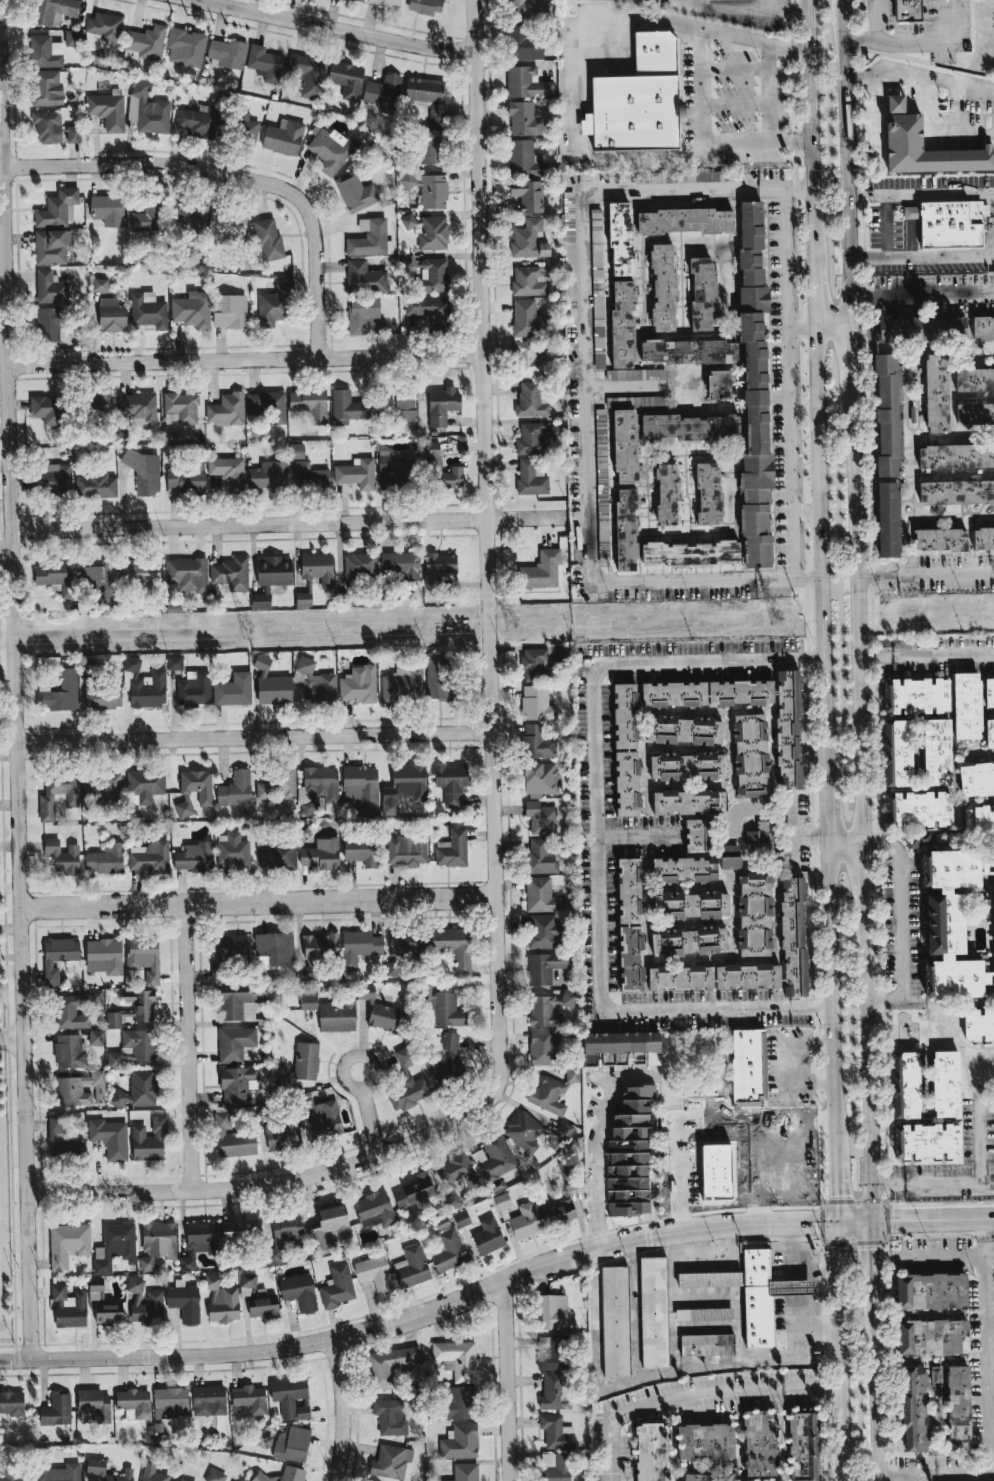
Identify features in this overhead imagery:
building: (361, 0)
building: (386, 2)
road: (770, 4)
road: (684, 5)
building: (426, 6)
building: (54, 9)
road: (758, 9)
building: (529, 10)
building: (908, 11)
road: (836, 12)
road: (874, 19)
building: (106, 26)
road: (336, 27)
building: (72, 38)
road: (920, 41)
building: (145, 43)
building: (524, 43)
building: (185, 47)
building: (46, 52)
building: (227, 54)
building: (97, 58)
building: (265, 63)
road: (810, 70)
building: (308, 72)
road: (888, 74)
building: (346, 79)
building: (527, 83)
road: (962, 84)
building: (48, 87)
building: (424, 89)
building: (383, 94)
road: (571, 99)
building: (638, 99)
building: (148, 109)
building: (108, 111)
building: (436, 114)
building: (524, 119)
road: (876, 119)
building: (198, 121)
building: (48, 126)
building: (248, 129)
building: (904, 131)
road: (937, 131)
building: (74, 134)
building: (283, 137)
building: (430, 147)
building: (332, 150)
building: (524, 159)
road: (846, 162)
road: (234, 174)
building: (682, 176)
building: (426, 187)
road: (701, 191)
building: (355, 192)
road: (920, 193)
building: (529, 195)
road: (813, 203)
building: (58, 208)
building: (108, 209)
building: (149, 218)
building: (188, 218)
building: (685, 220)
building: (227, 222)
building: (949, 223)
road: (886, 226)
building: (428, 231)
building: (370, 238)
building: (269, 239)
building: (529, 239)
building: (621, 239)
building: (52, 246)
building: (570, 257)
road: (922, 257)
building: (553, 265)
building: (427, 273)
building: (364, 278)
building: (528, 281)
building: (100, 285)
building: (50, 287)
building: (663, 287)
building: (702, 293)
road: (922, 294)
road: (816, 295)
road: (3, 297)
building: (274, 306)
building: (192, 309)
building: (149, 310)
building: (430, 310)
building: (229, 311)
building: (112, 315)
building: (365, 316)
building: (527, 319)
building: (50, 323)
road: (805, 323)
building: (623, 324)
road: (834, 325)
building: (983, 327)
building: (922, 328)
building: (688, 351)
road: (851, 352)
road: (245, 359)
building: (530, 360)
building: (626, 374)
building: (975, 380)
road: (794, 383)
building: (718, 384)
road: (594, 386)
building: (754, 386)
building: (937, 392)
building: (531, 401)
building: (100, 404)
building: (310, 404)
building: (404, 404)
building: (268, 405)
building: (442, 405)
building: (349, 406)
building: (139, 407)
building: (182, 407)
building: (46, 409)
building: (227, 409)
building: (975, 414)
building: (888, 416)
road: (819, 418)
building: (690, 427)
building: (555, 431)
building: (530, 439)
building: (624, 440)
building: (296, 451)
building: (433, 454)
building: (956, 456)
building: (395, 462)
building: (228, 471)
building: (144, 472)
building: (357, 473)
building: (269, 475)
building: (310, 475)
building: (184, 478)
building: (531, 478)
building: (386, 480)
building: (99, 486)
building: (956, 492)
building: (667, 494)
building: (709, 494)
road: (809, 509)
building: (888, 519)
road: (289, 523)
building: (626, 530)
building: (983, 538)
building: (940, 540)
building: (690, 552)
building: (400, 564)
building: (360, 566)
building: (318, 568)
building: (438, 568)
building: (544, 570)
building: (142, 574)
building: (187, 574)
building: (231, 574)
road: (925, 574)
building: (55, 576)
building: (271, 577)
road: (697, 578)
building: (102, 580)
building: (303, 600)
road: (858, 608)
road: (486, 613)
power tower: (769, 620)
power tower: (515, 625)
power tower: (250, 630)
road: (824, 634)
road: (926, 652)
building: (540, 661)
building: (175, 662)
building: (439, 676)
road: (18, 678)
building: (316, 681)
building: (403, 684)
building: (145, 685)
building: (359, 685)
building: (194, 688)
building: (233, 690)
building: (61, 691)
building: (989, 692)
building: (740, 693)
building: (674, 694)
building: (102, 695)
building: (916, 696)
building: (534, 702)
building: (967, 706)
building: (625, 716)
building: (788, 729)
building: (683, 730)
building: (989, 733)
road: (254, 737)
building: (538, 742)
building: (937, 752)
building: (898, 753)
building: (751, 755)
building: (687, 766)
building: (540, 779)
building: (977, 779)
building: (451, 782)
building: (627, 783)
building: (277, 785)
building: (405, 786)
building: (144, 787)
building: (362, 787)
building: (318, 788)
building: (104, 791)
building: (194, 791)
building: (236, 791)
building: (58, 794)
building: (688, 802)
road: (838, 807)
building: (919, 809)
building: (540, 818)
building: (979, 821)
building: (697, 835)
building: (758, 835)
road: (790, 835)
road: (810, 836)
road: (598, 837)
road: (639, 838)
building: (452, 849)
building: (232, 850)
building: (360, 850)
building: (407, 850)
building: (322, 854)
building: (542, 855)
building: (62, 856)
building: (148, 857)
building: (194, 857)
building: (277, 857)
building: (730, 857)
building: (106, 859)
building: (684, 870)
road: (865, 872)
road: (855, 875)
building: (629, 891)
building: (540, 895)
road: (258, 903)
building: (693, 904)
building: (980, 909)
building: (754, 915)
road: (900, 921)
building: (950, 924)
building: (544, 932)
building: (794, 936)
building: (410, 941)
building: (689, 941)
building: (231, 944)
building: (359, 946)
building: (454, 947)
building: (274, 949)
road: (831, 951)
building: (317, 953)
building: (104, 956)
building: (58, 958)
building: (144, 958)
building: (631, 958)
building: (546, 967)
building: (221, 970)
building: (747, 976)
building: (680, 978)
building: (366, 992)
building: (569, 998)
building: (308, 1000)
building: (237, 1003)
building: (140, 1004)
building: (444, 1009)
building: (544, 1012)
building: (71, 1013)
building: (337, 1016)
building: (386, 1018)
building: (978, 1025)
building: (96, 1037)
road: (13, 1039)
building: (235, 1043)
building: (134, 1047)
road: (192, 1047)
building: (542, 1047)
building: (617, 1047)
building: (69, 1052)
building: (306, 1061)
building: (447, 1061)
road: (869, 1063)
building: (748, 1066)
building: (573, 1075)
building: (408, 1082)
building: (238, 1084)
building: (946, 1084)
building: (906, 1085)
building: (76, 1089)
building: (138, 1090)
building: (548, 1096)
road: (369, 1112)
road: (676, 1114)
building: (323, 1118)
building: (564, 1130)
road: (598, 1130)
building: (524, 1131)
building: (282, 1134)
building: (232, 1137)
building: (110, 1138)
building: (62, 1140)
building: (149, 1141)
building: (927, 1141)
road: (981, 1144)
road: (799, 1149)
building: (629, 1154)
building: (736, 1169)
building: (458, 1172)
building: (570, 1175)
road: (837, 1182)
road: (933, 1184)
road: (204, 1188)
building: (416, 1192)
building: (502, 1201)
building: (374, 1210)
building: (559, 1212)
road: (933, 1218)
building: (461, 1219)
traffic signals: (874, 1220)
building: (525, 1221)
traffic signals: (838, 1221)
building: (328, 1227)
building: (240, 1230)
building: (285, 1236)
building: (488, 1236)
building: (199, 1241)
building: (68, 1243)
building: (157, 1243)
building: (115, 1247)
road: (789, 1250)
building: (449, 1251)
road: (874, 1253)
road: (929, 1259)
building: (412, 1266)
road: (814, 1269)
building: (374, 1275)
building: (709, 1279)
building: (248, 1280)
building: (337, 1286)
road: (791, 1286)
building: (299, 1292)
building: (931, 1292)
building: (764, 1295)
building: (155, 1297)
building: (222, 1300)
building: (184, 1302)
road: (673, 1304)
building: (69, 1307)
building: (105, 1307)
building: (263, 1307)
road: (440, 1308)
building: (552, 1311)
road: (634, 1311)
building: (654, 1312)
building: (704, 1314)
building: (616, 1321)
road: (799, 1329)
building: (932, 1337)
building: (708, 1345)
road: (986, 1346)
road: (840, 1351)
building: (554, 1354)
building: (457, 1359)
road: (788, 1360)
building: (390, 1365)
building: (935, 1375)
road: (508, 1382)
road: (877, 1384)
road: (600, 1385)
building: (553, 1391)
road: (723, 1393)
building: (250, 1398)
building: (291, 1398)
building: (208, 1400)
building: (171, 1402)
building: (460, 1402)
building: (12, 1403)
building: (134, 1403)
building: (93, 1406)
building: (913, 1408)
building: (958, 1408)
building: (57, 1410)
road: (344, 1410)
building: (390, 1417)
building: (556, 1432)
building: (460, 1441)
building: (705, 1442)
building: (760, 1443)
building: (292, 1444)
building: (803, 1446)
road: (608, 1451)
building: (651, 1452)
building: (392, 1461)
building: (556, 1467)
building: (103, 1471)
building: (465, 1472)
building: (61, 1473)
building: (14, 1474)
building: (156, 1474)
building: (215, 1475)
building: (283, 1475)
road: (897, 1476)
road: (954, 1476)
building: (697, 1477)
road: (915, 1478)

